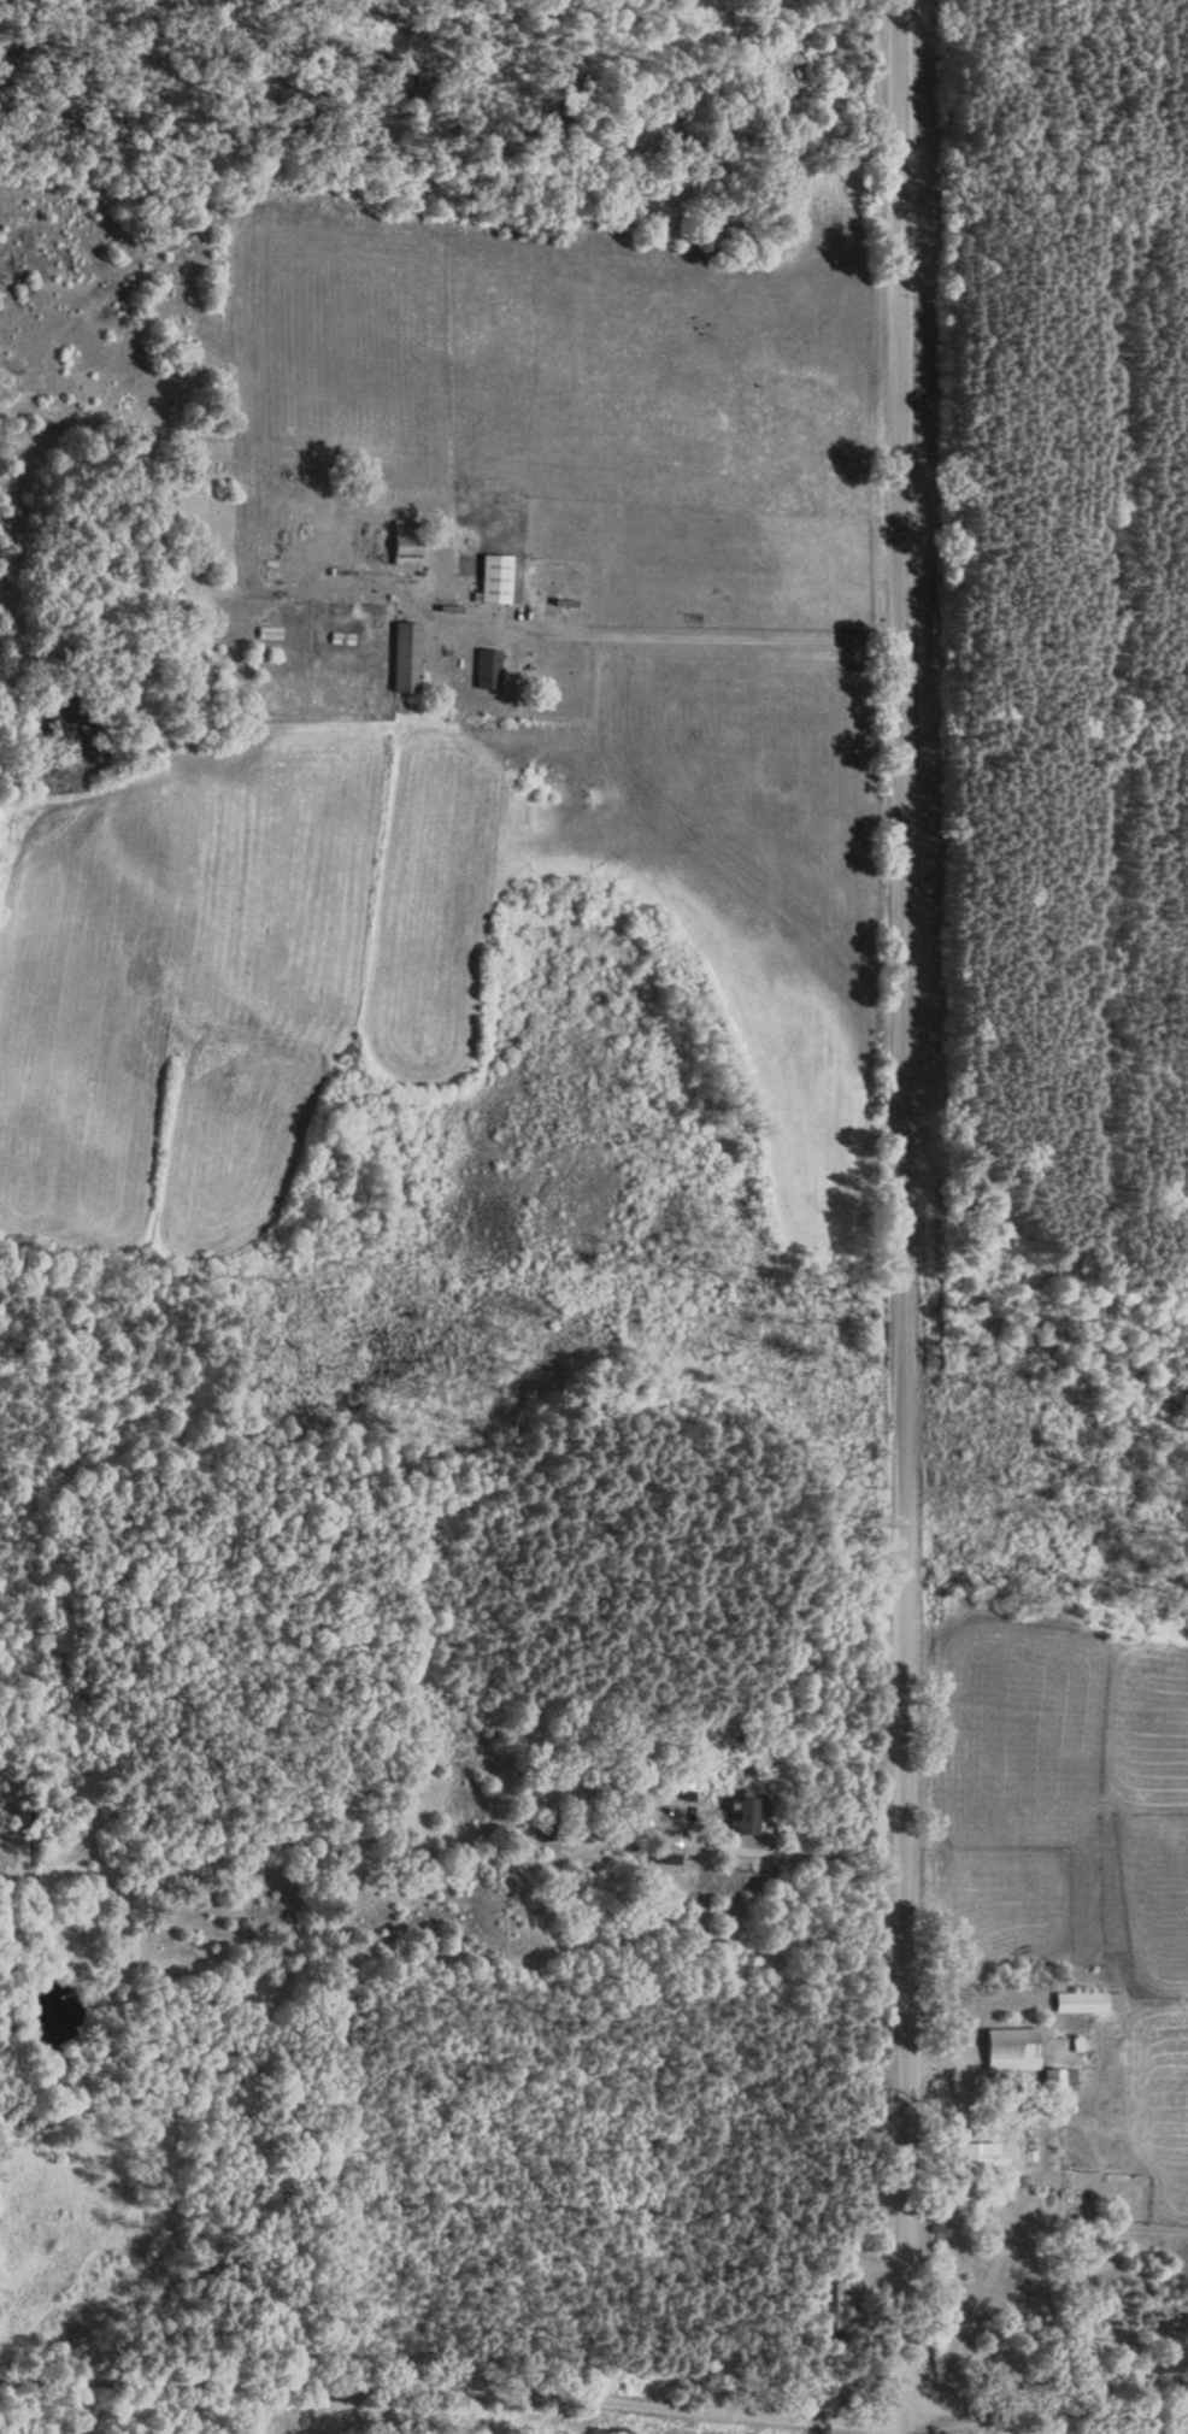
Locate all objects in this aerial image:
building: (405, 552)
building: (493, 582)
building: (269, 636)
road: (714, 640)
building: (404, 659)
building: (486, 672)
road: (884, 1201)
building: (742, 1821)
building: (1087, 2006)
building: (1007, 2053)
building: (1055, 2085)
building: (980, 2159)
building: (839, 2310)
road: (452, 2371)
road: (1045, 2395)
road: (595, 2403)
road: (904, 2418)

